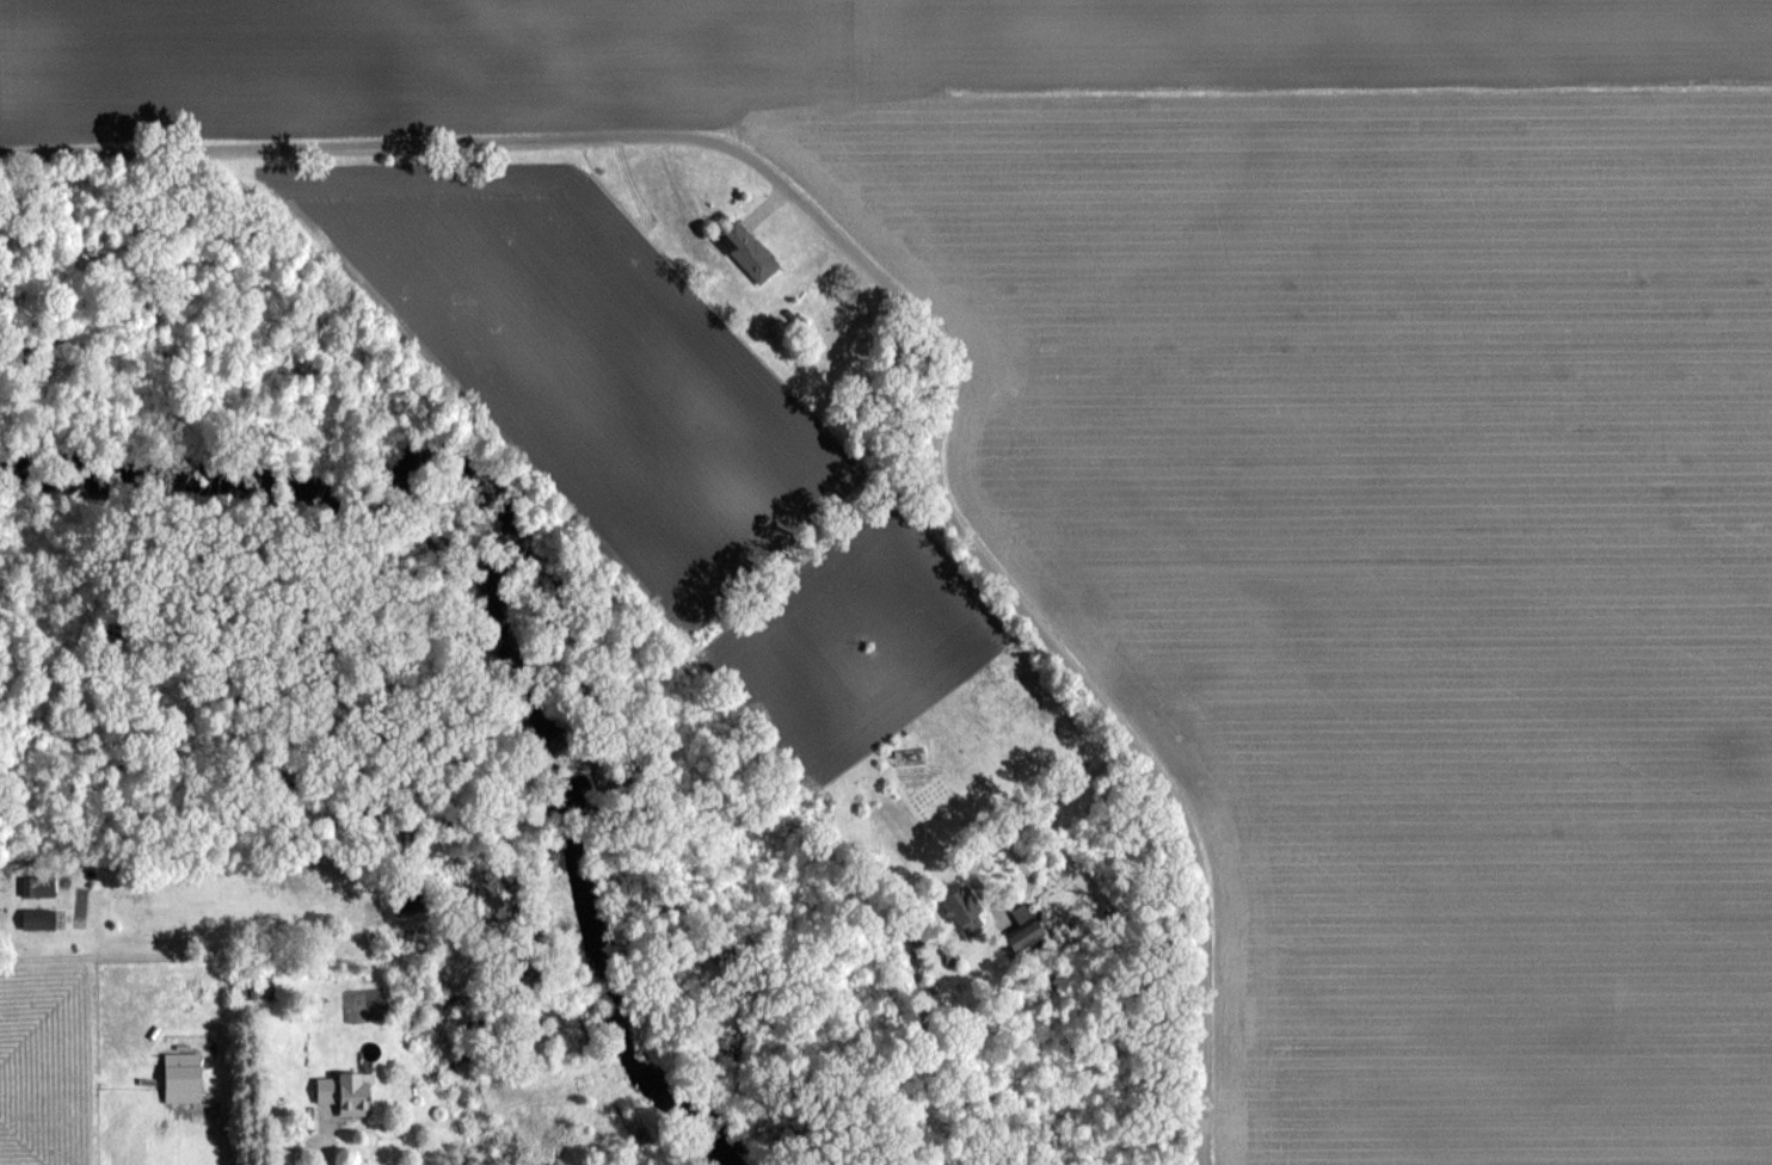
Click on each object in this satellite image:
building: (750, 251)
road: (910, 302)
building: (41, 918)
building: (250, 990)
building: (185, 1077)
building: (350, 1091)
road: (325, 1134)

